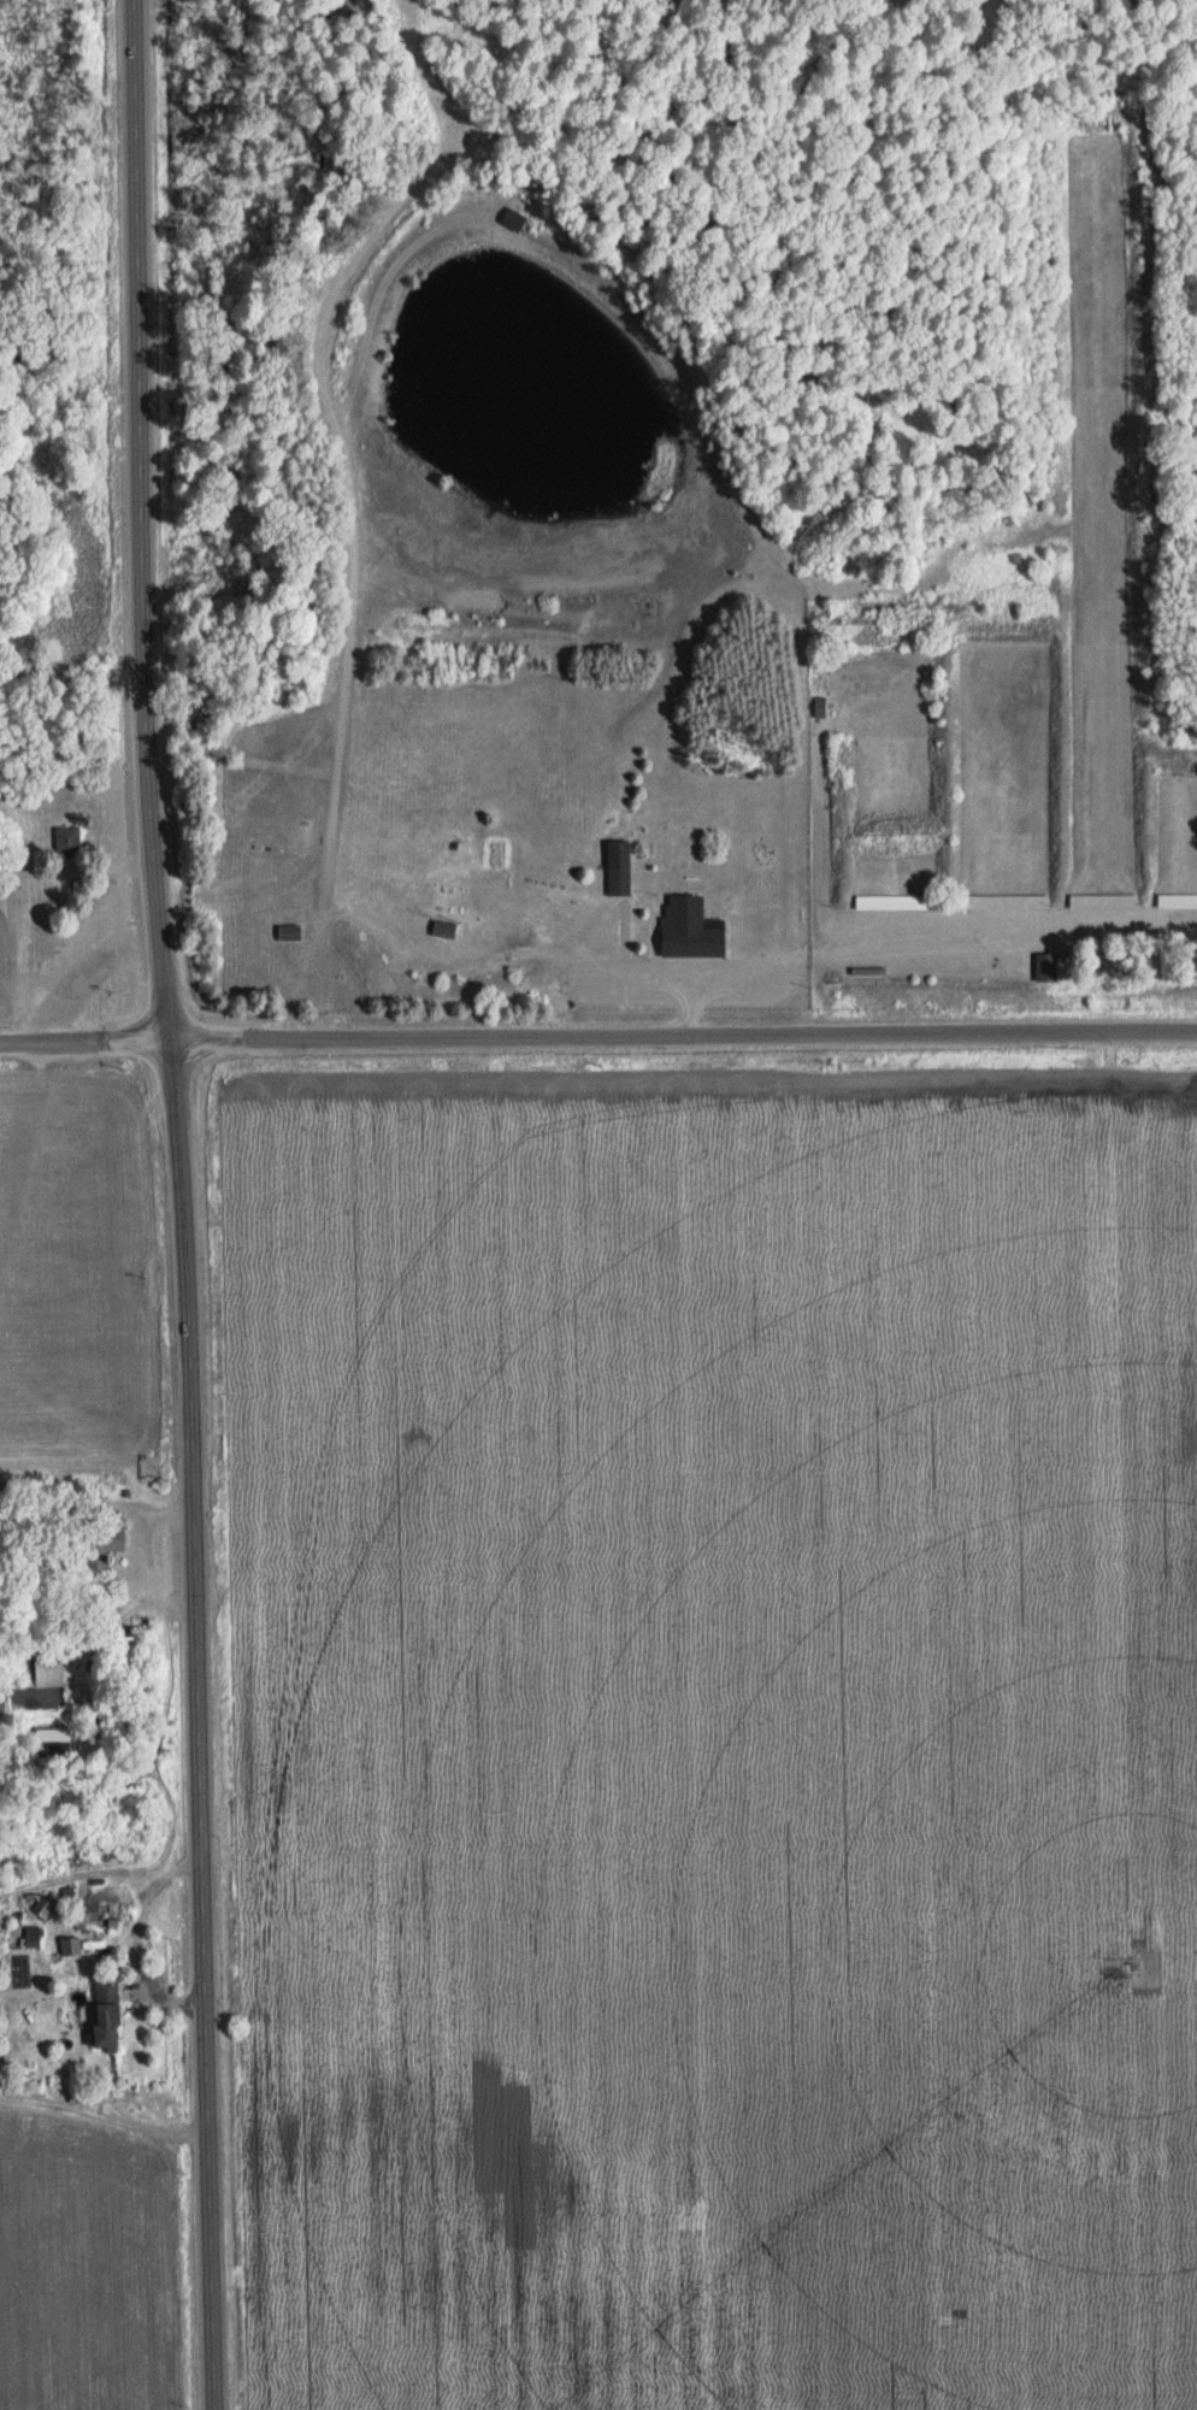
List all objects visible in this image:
building: (515, 217)
park: (1045, 653)
building: (819, 706)
road: (341, 729)
building: (66, 841)
building: (619, 865)
building: (1004, 901)
building: (1103, 901)
building: (1177, 901)
building: (896, 902)
park: (444, 920)
building: (690, 927)
road: (1007, 927)
road: (821, 944)
building: (1046, 965)
road: (623, 968)
parking lot: (686, 986)
road: (719, 1039)
road: (167, 1042)
road: (47, 1043)
road: (185, 1203)
building: (95, 1551)
building: (125, 1656)
building: (48, 1666)
building: (52, 1739)
building: (43, 1905)
building: (31, 1937)
building: (106, 2014)

